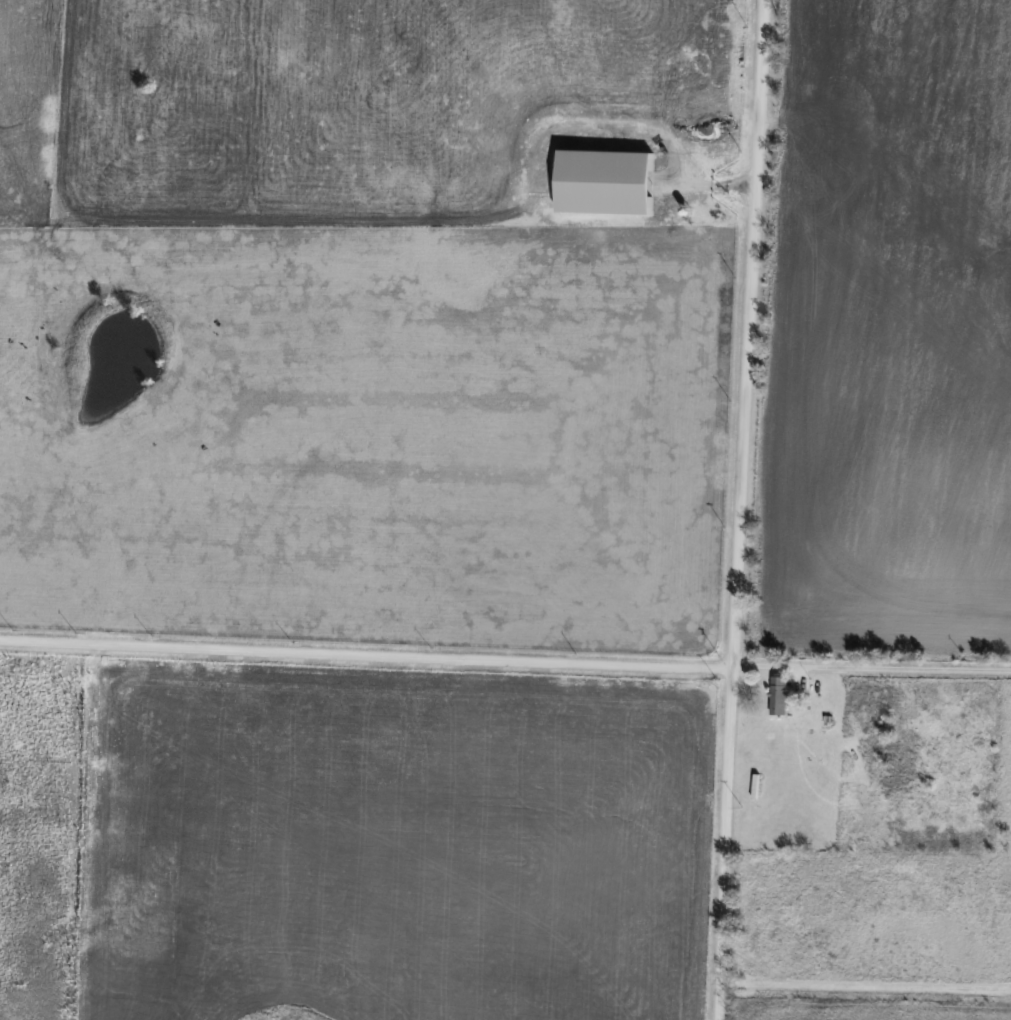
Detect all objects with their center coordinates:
building: (673, 215)
road: (738, 510)
road: (365, 652)
road: (871, 667)
building: (777, 695)
building: (804, 715)
building: (883, 761)
road: (863, 984)

